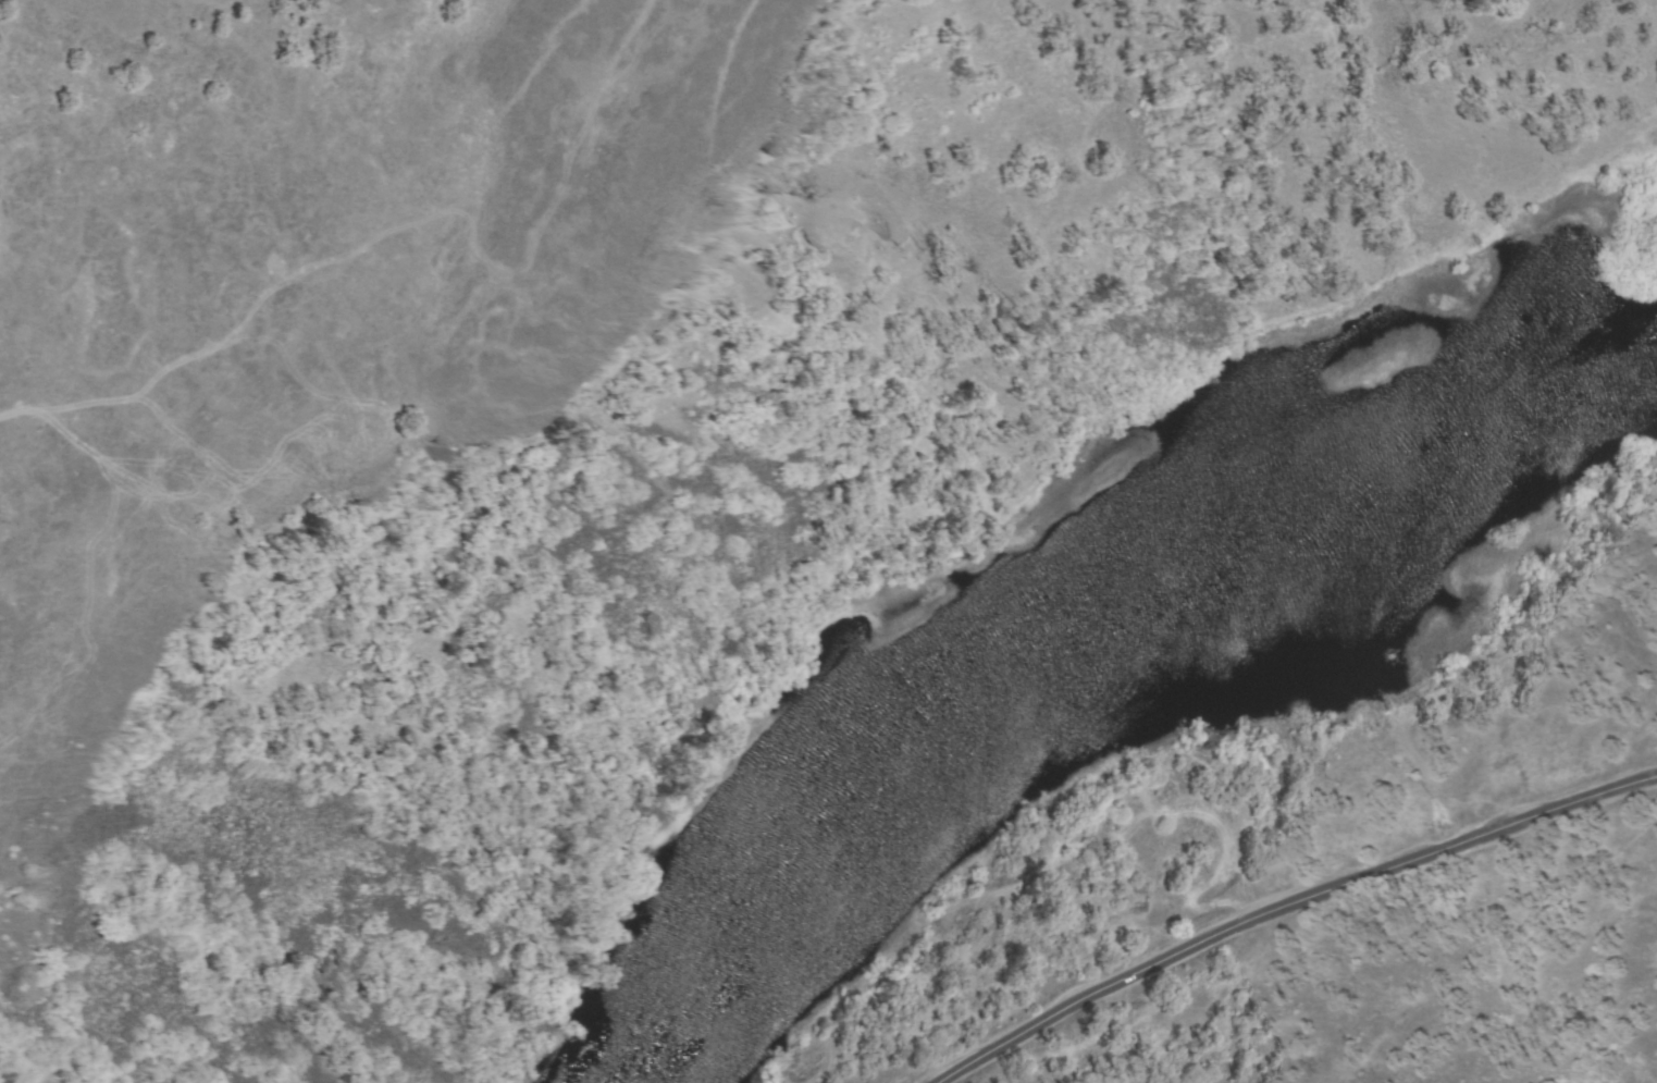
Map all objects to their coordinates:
road: (1307, 918)

